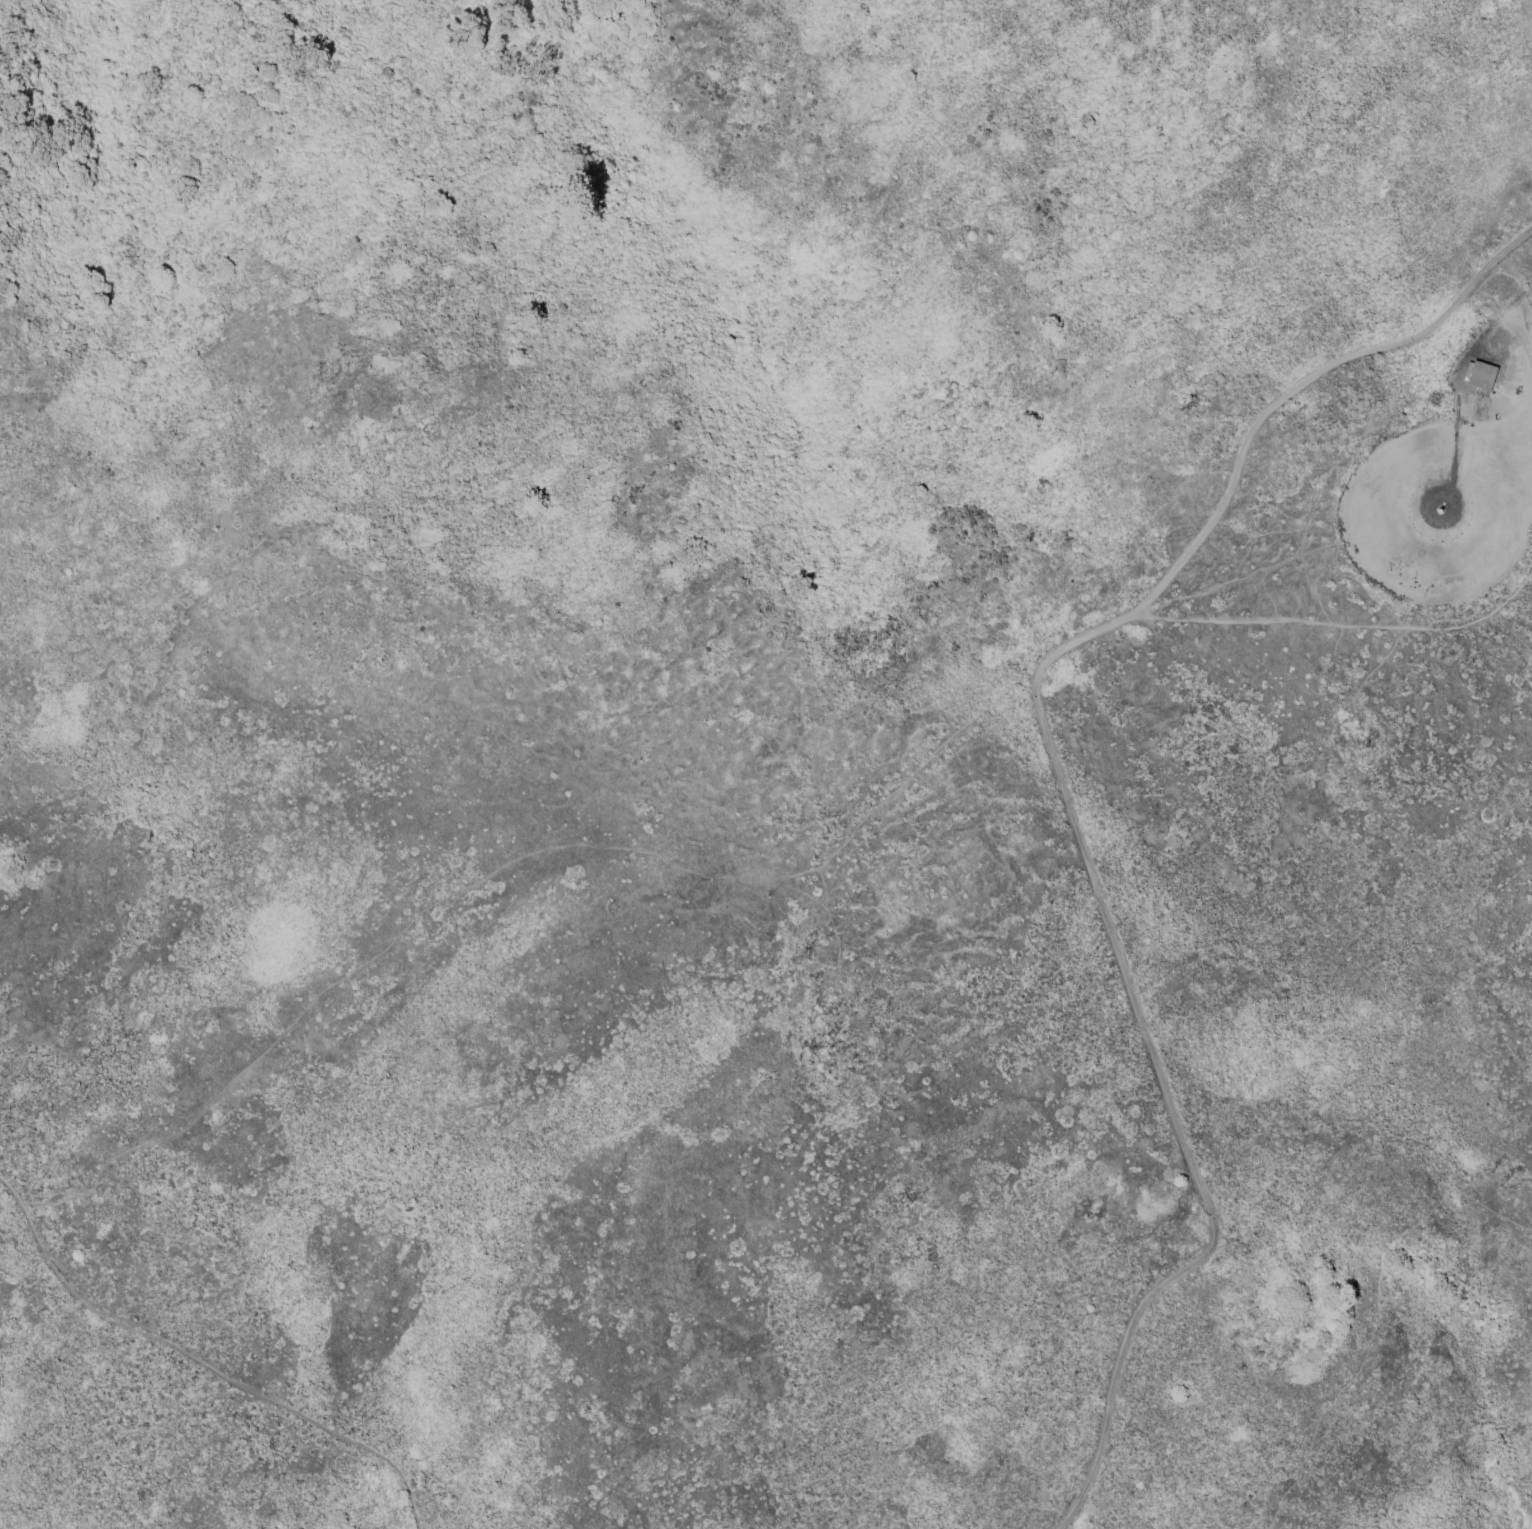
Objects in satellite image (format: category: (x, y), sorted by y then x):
road: (1524, 299)
building: (1483, 378)
road: (1298, 391)
road: (1340, 630)
road: (1156, 1067)
road: (202, 1363)

